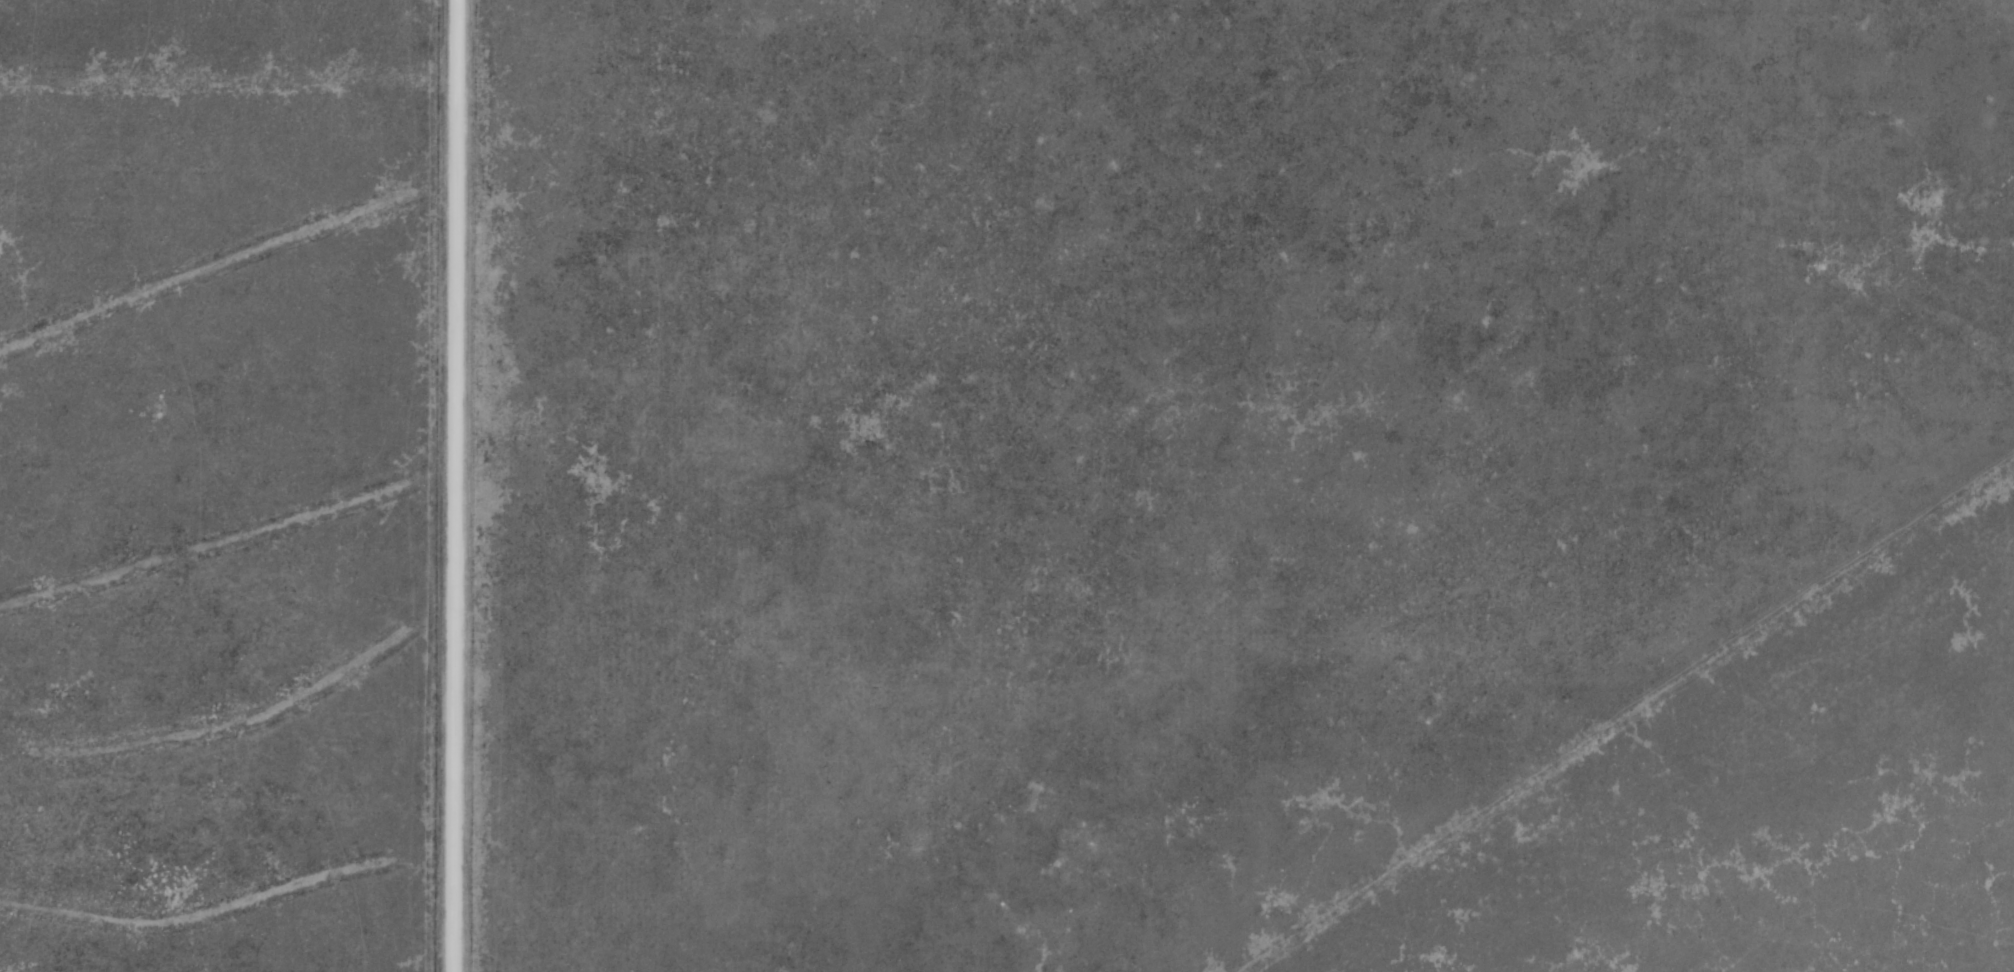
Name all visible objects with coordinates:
road: (455, 485)

